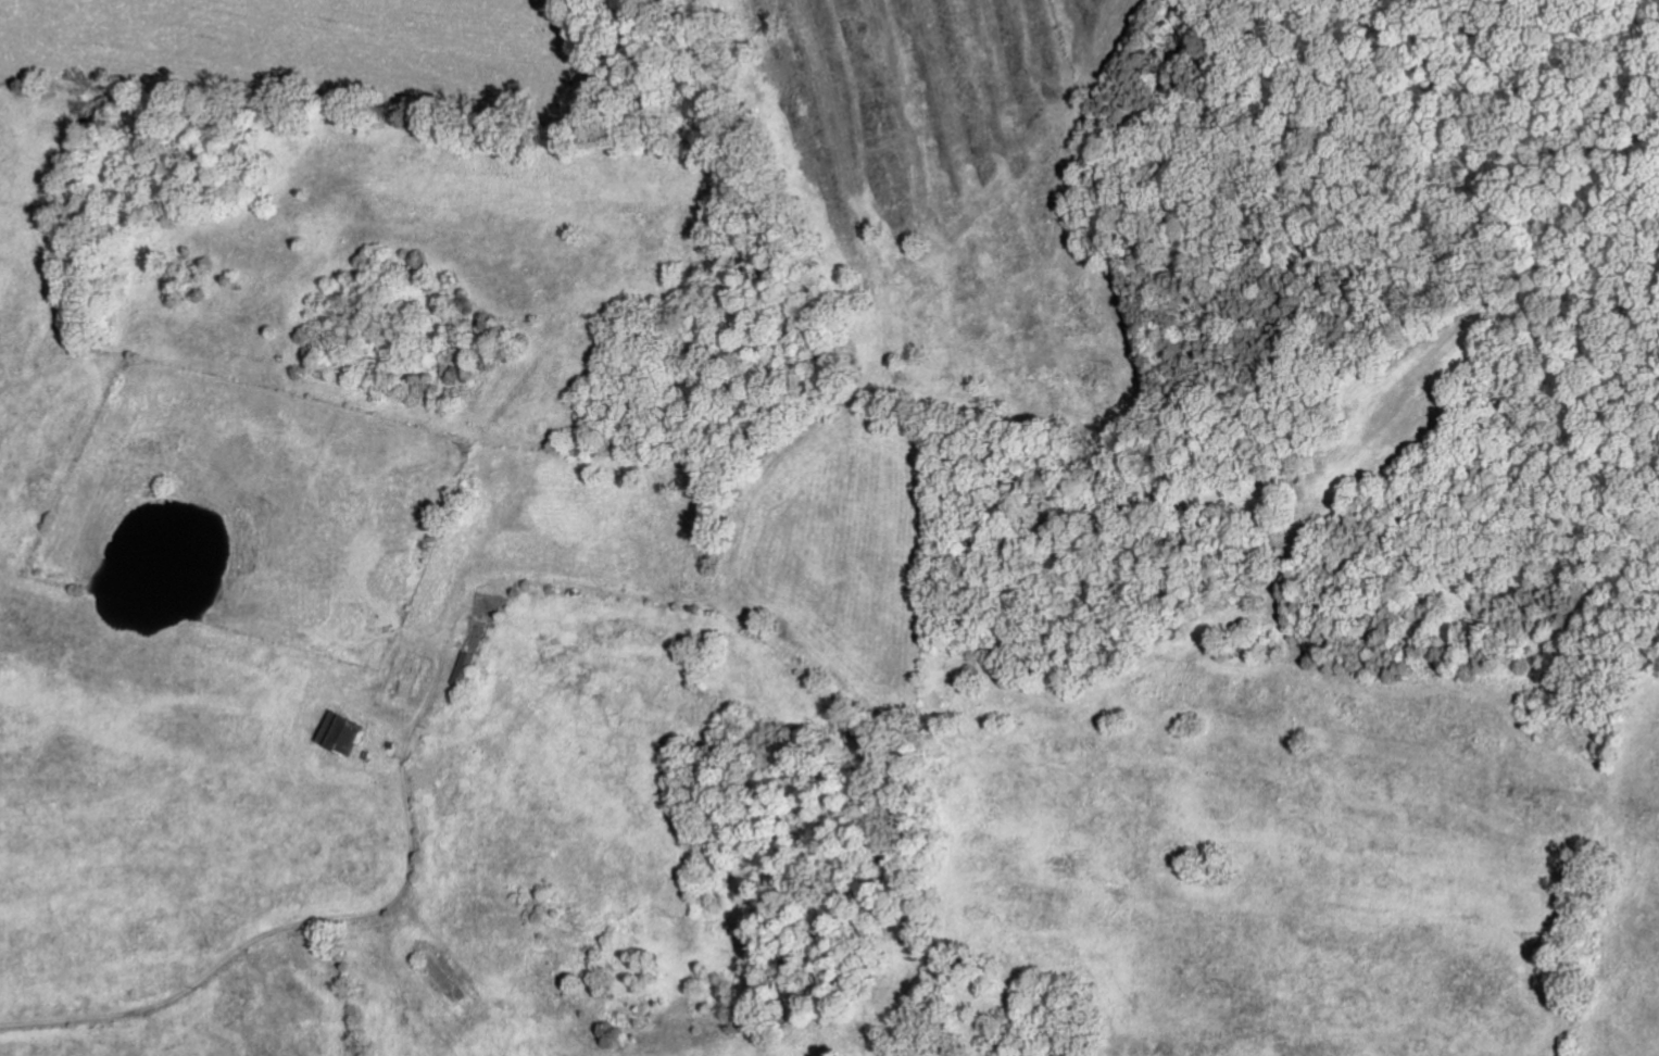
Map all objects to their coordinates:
building: (337, 732)

